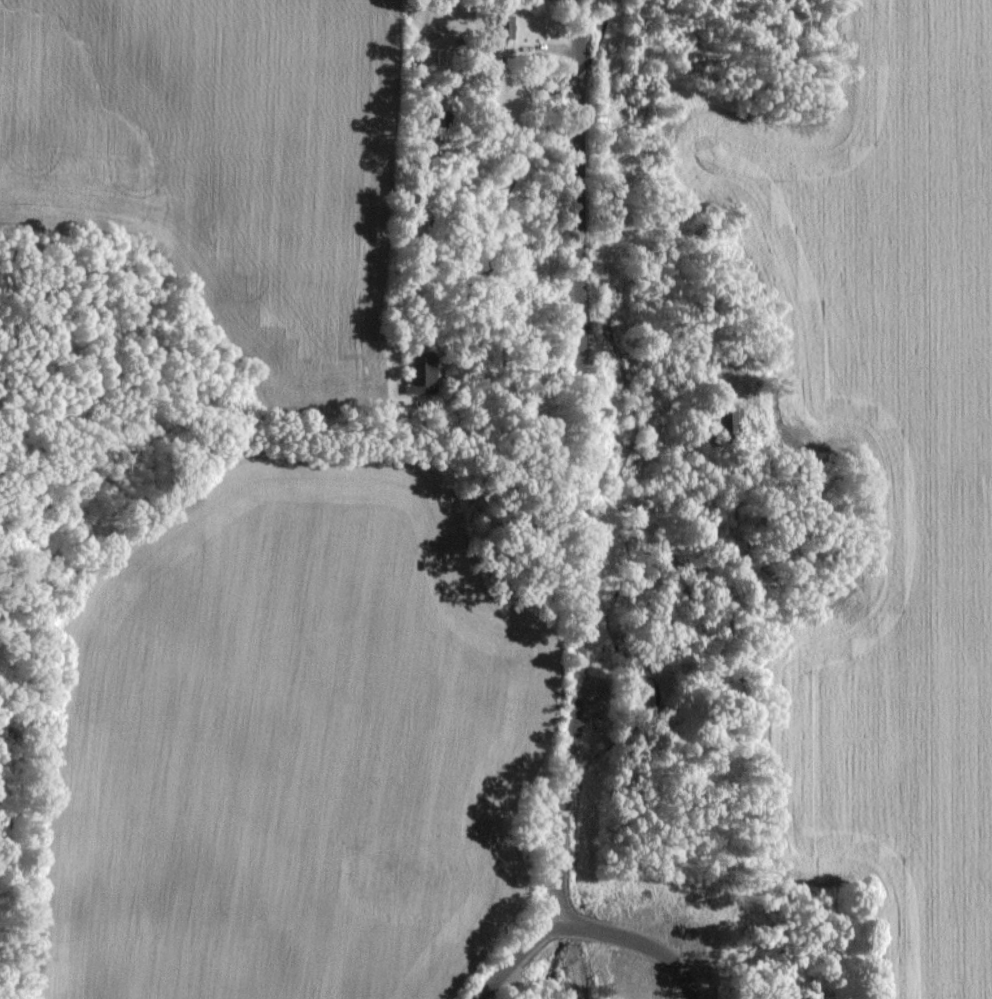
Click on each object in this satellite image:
road: (510, 339)
building: (426, 374)
road: (579, 465)
road: (638, 941)
road: (577, 958)
road: (509, 964)

